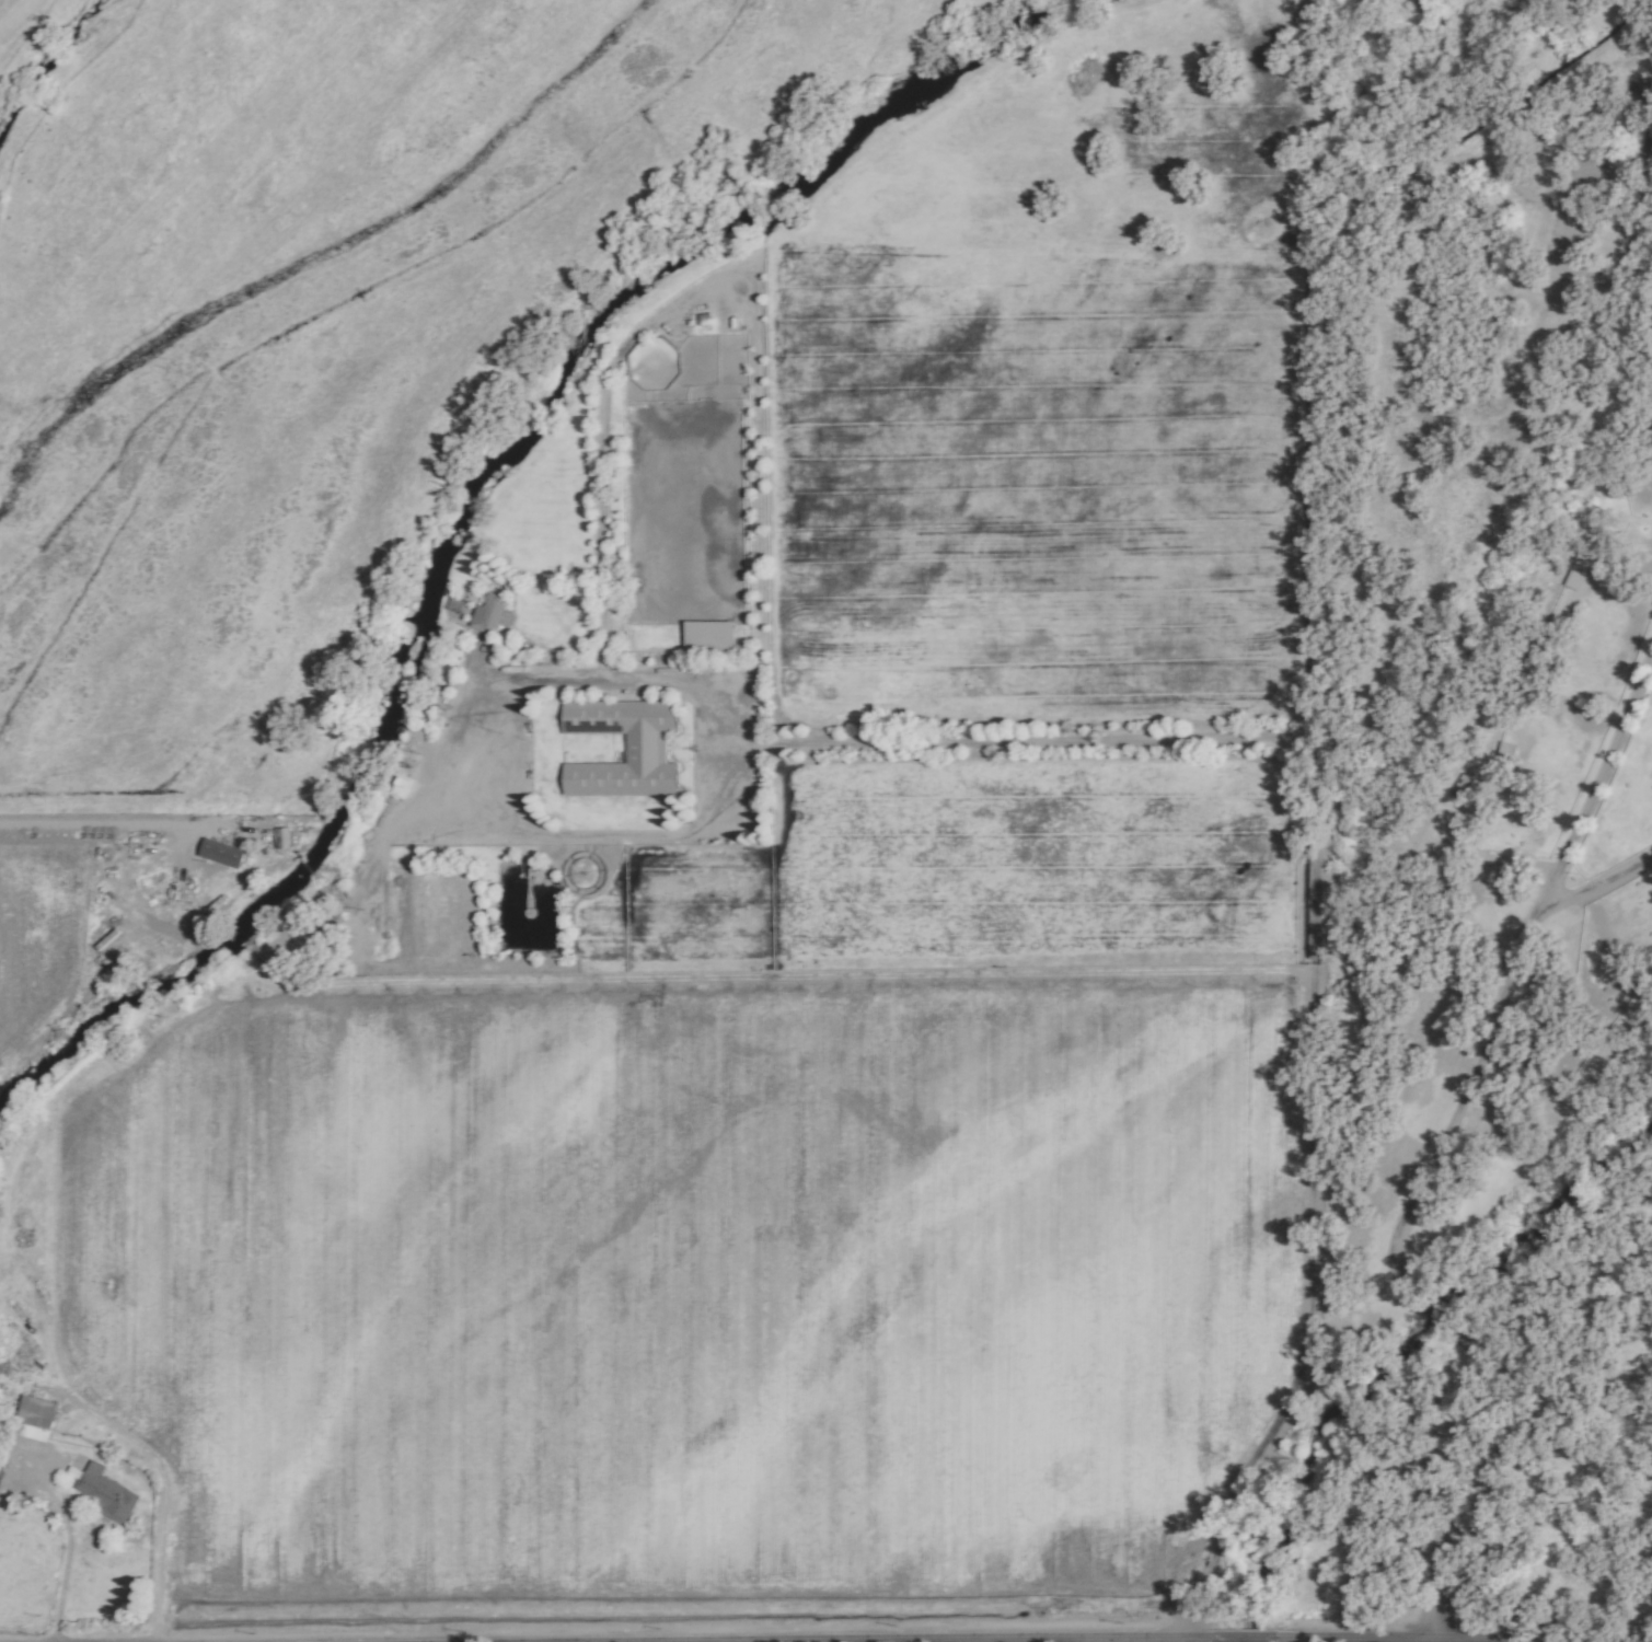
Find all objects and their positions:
crop: (22, 27)
crop: (305, 329)
crop: (994, 551)
building: (486, 613)
building: (705, 636)
building: (643, 748)
road: (1315, 798)
road: (120, 819)
building: (218, 853)
road: (1596, 884)
road: (1444, 1134)
road: (84, 1411)
building: (32, 1419)

